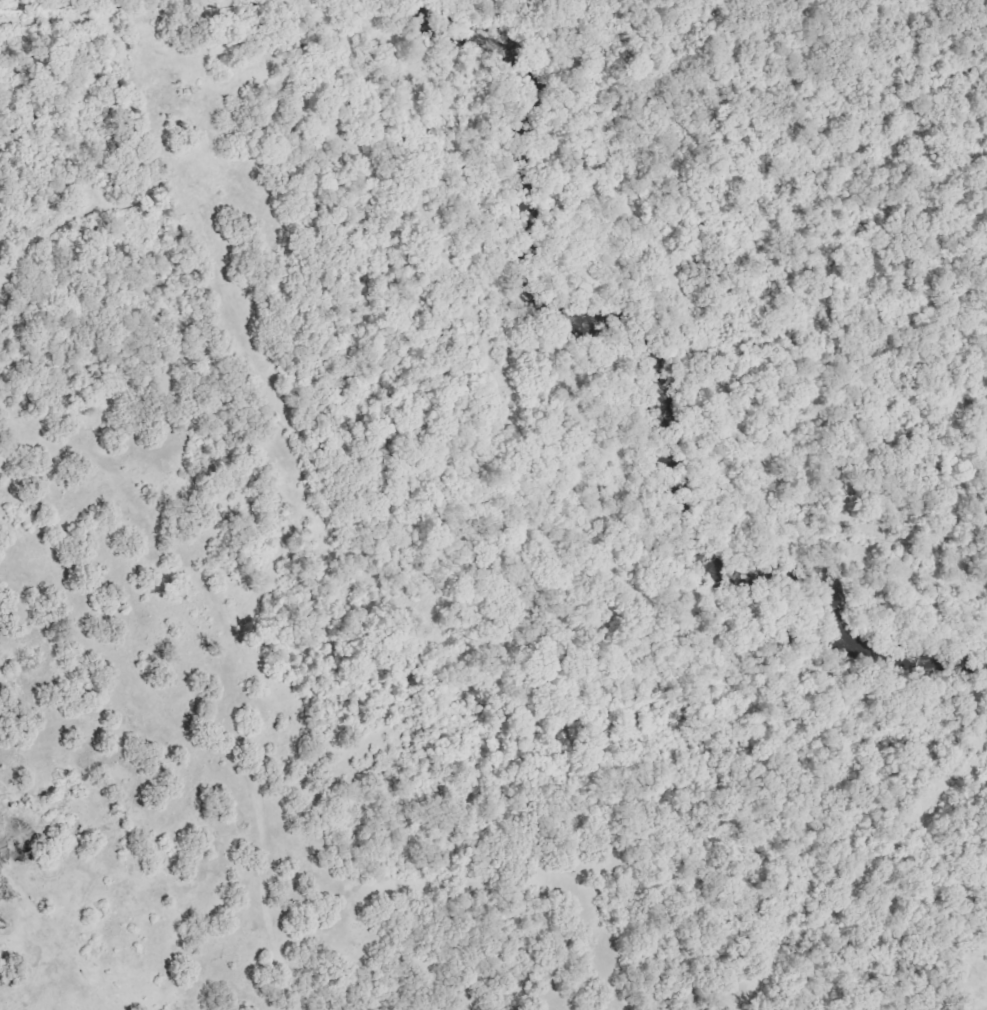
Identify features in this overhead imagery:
river: (645, 394)

